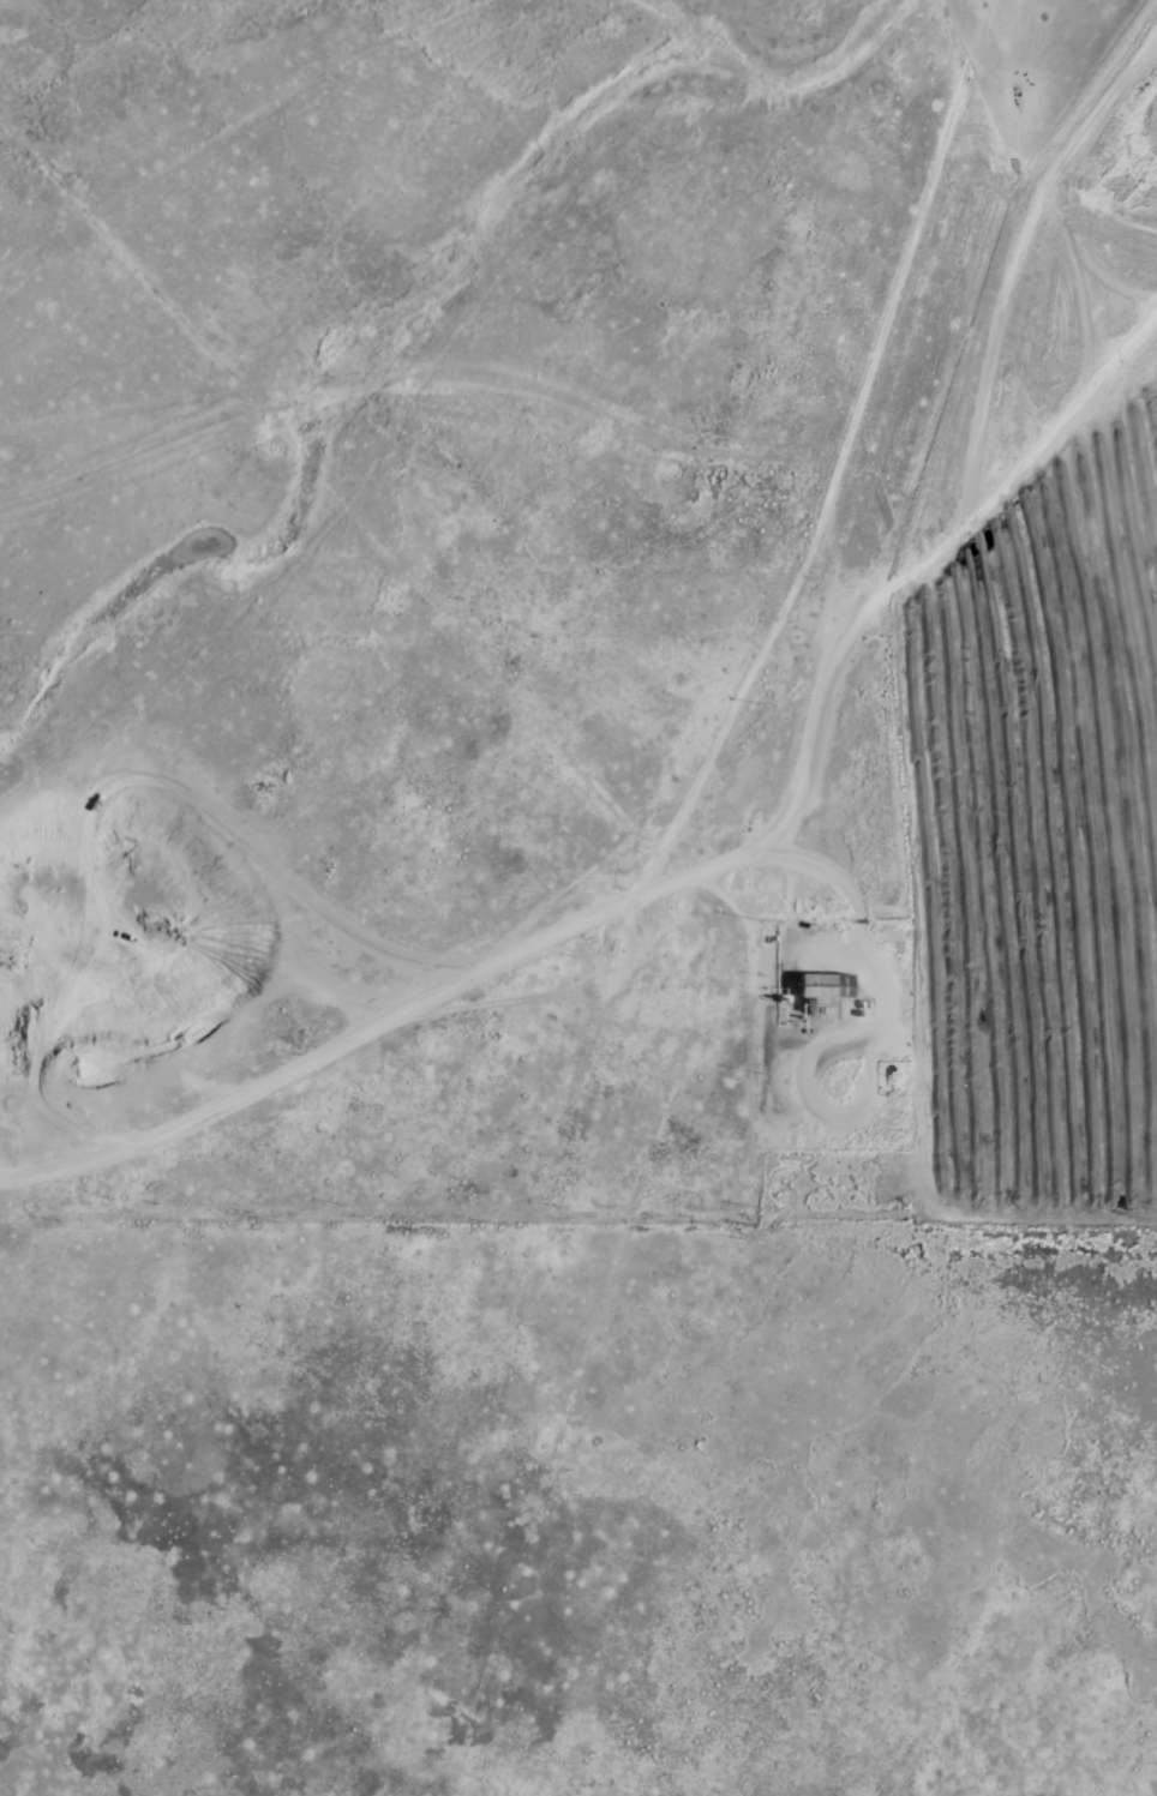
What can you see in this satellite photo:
road: (1127, 344)

